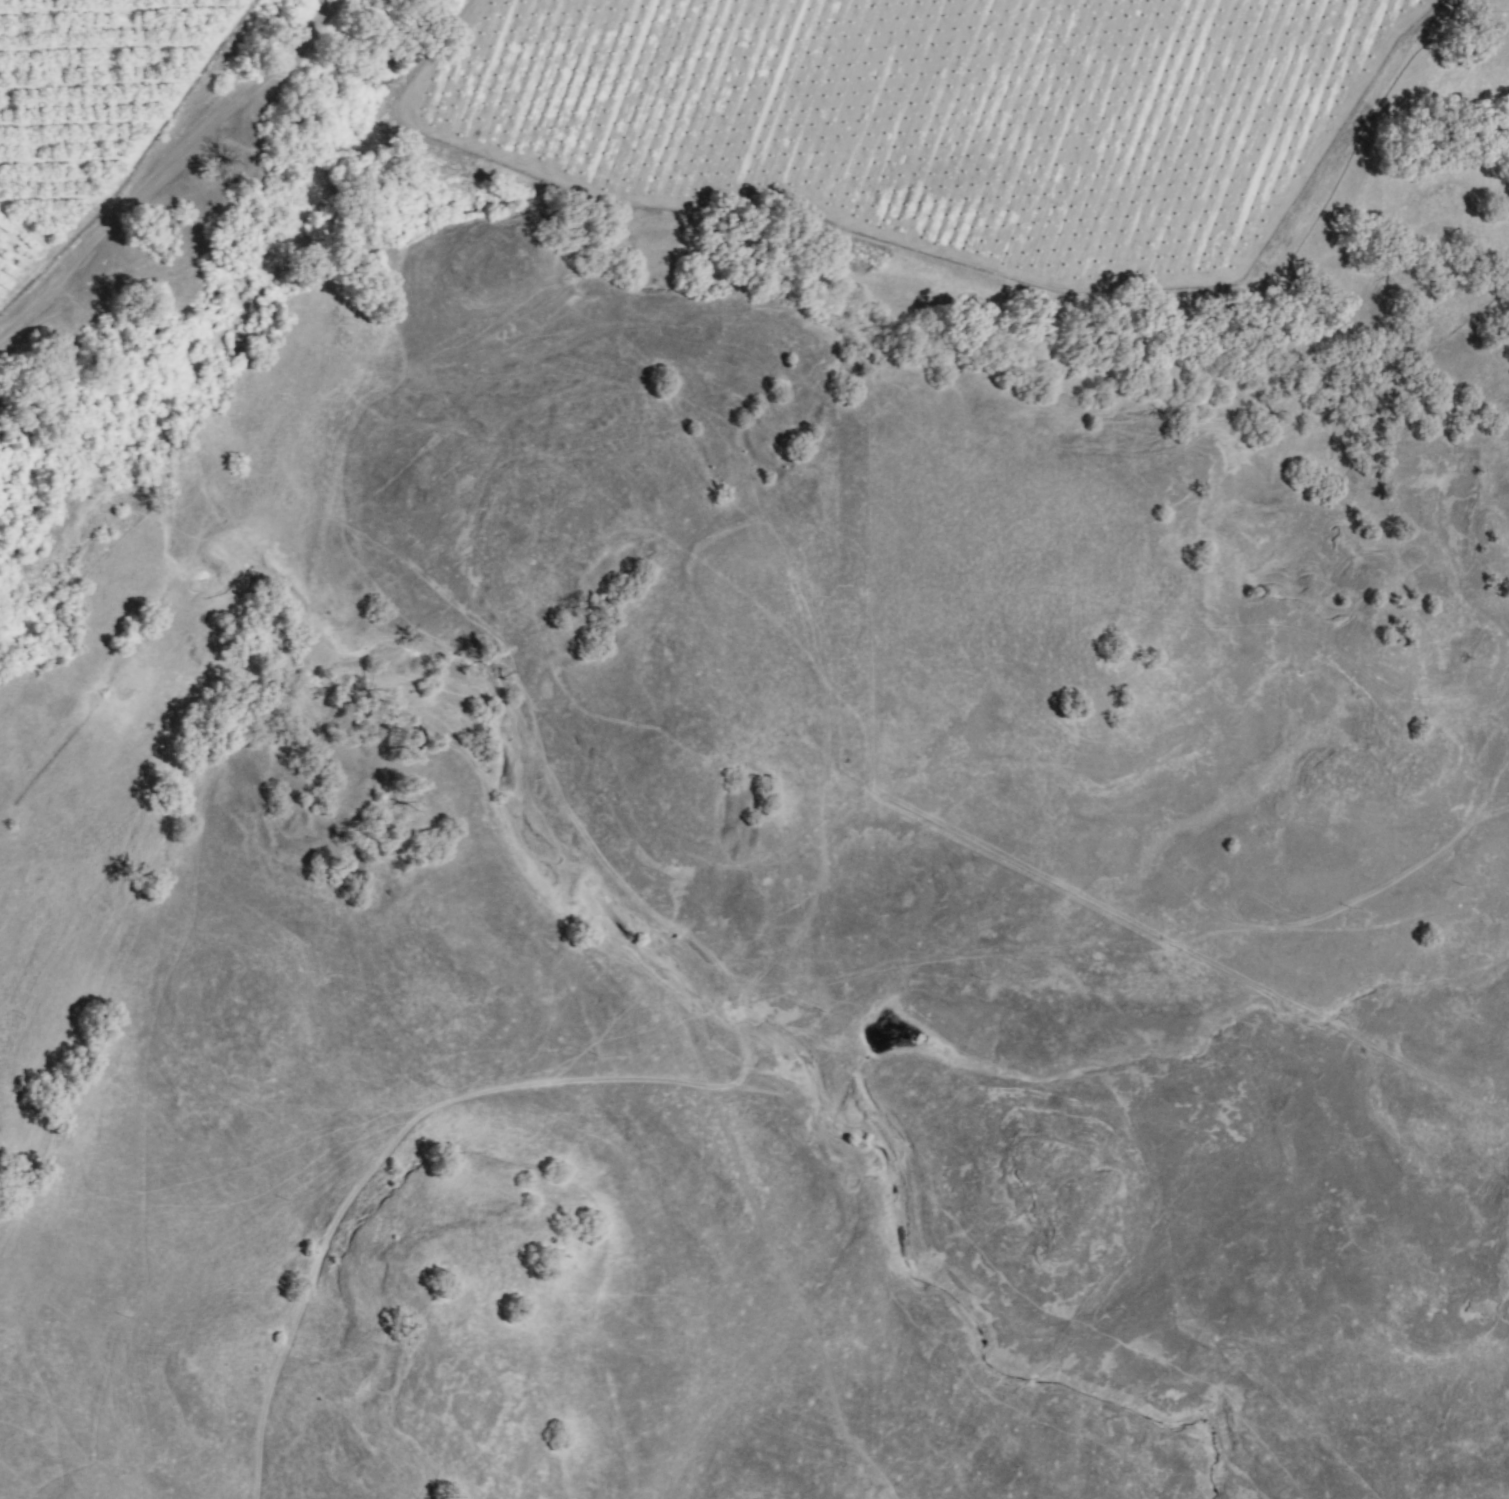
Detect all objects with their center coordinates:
crop: (784, 111)

